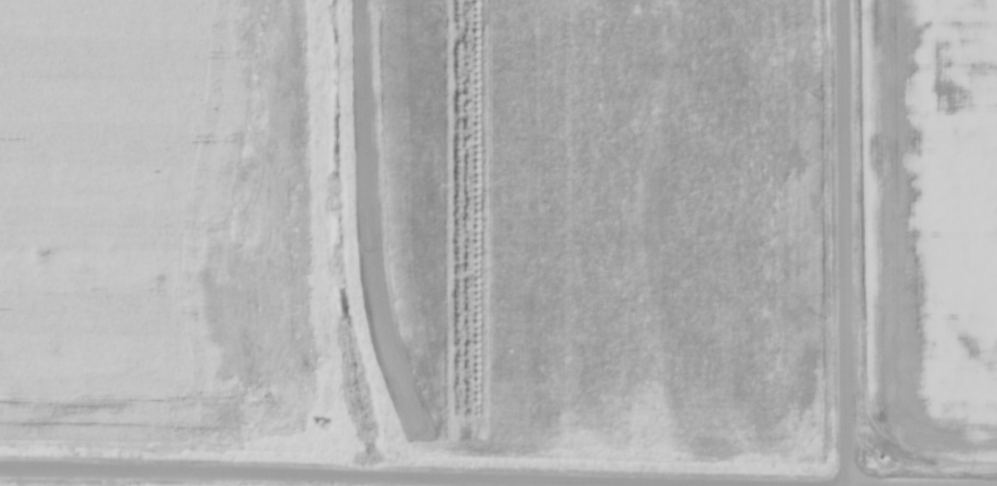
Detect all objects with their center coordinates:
road: (843, 242)
road: (338, 476)

